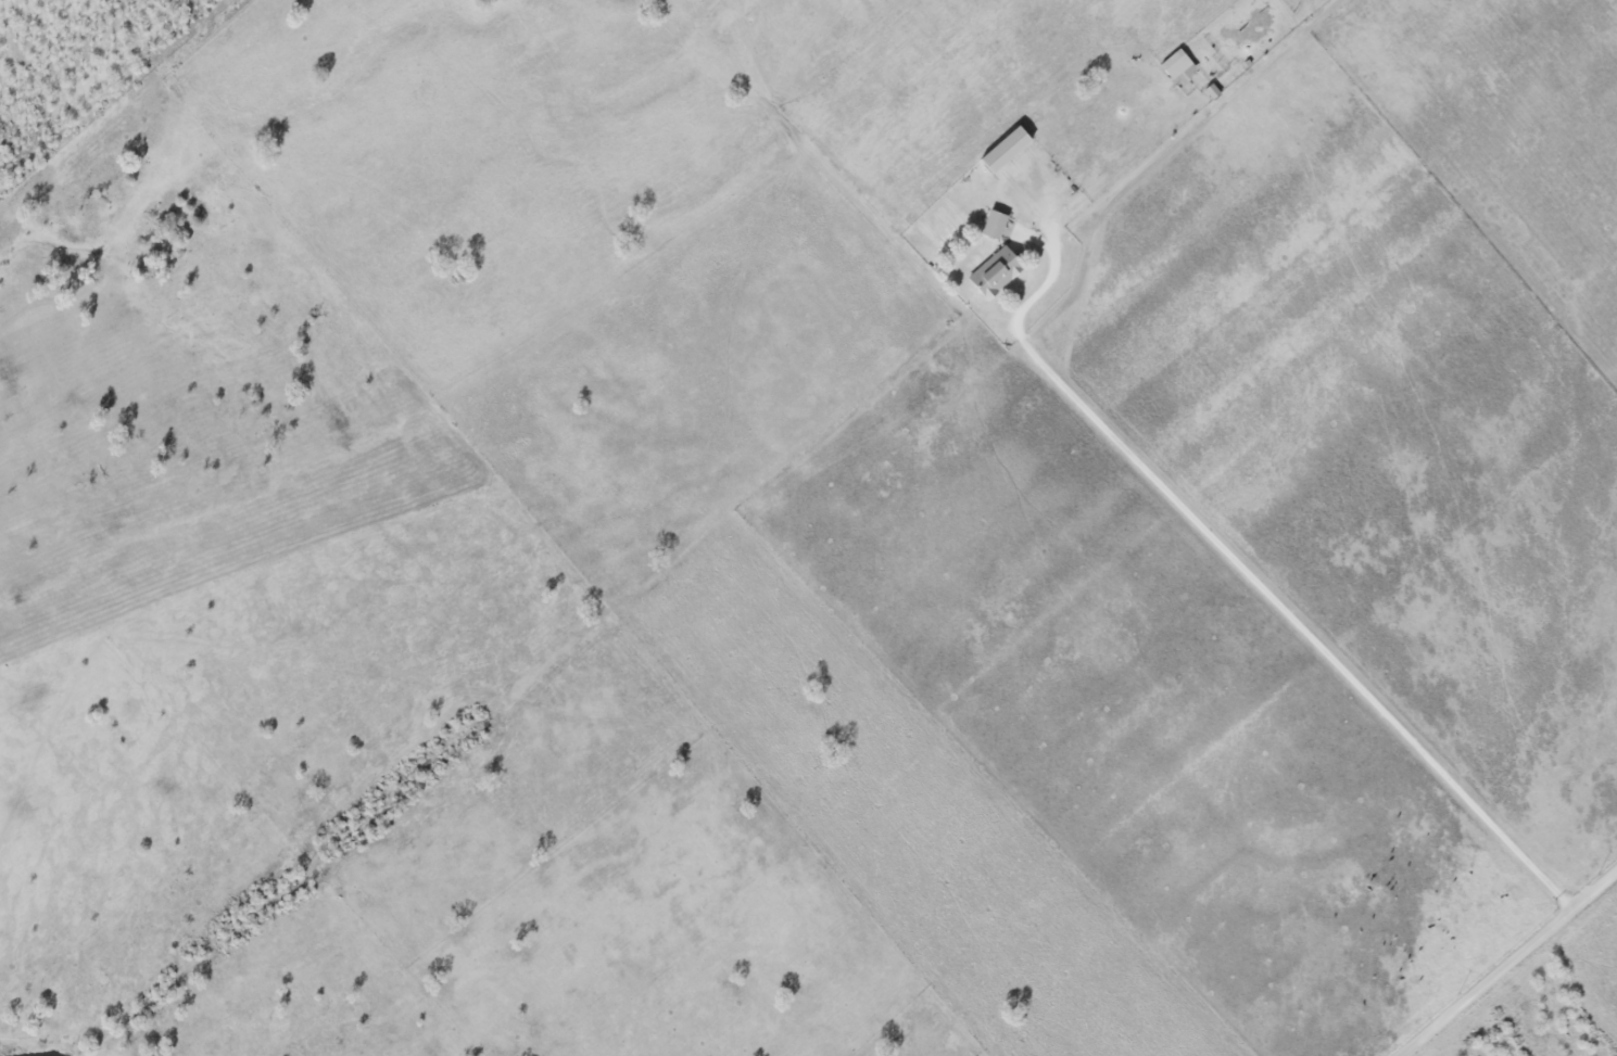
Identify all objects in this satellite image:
building: (1177, 65)
building: (1005, 150)
building: (994, 225)
building: (996, 273)
road: (1280, 614)
road: (1508, 963)

